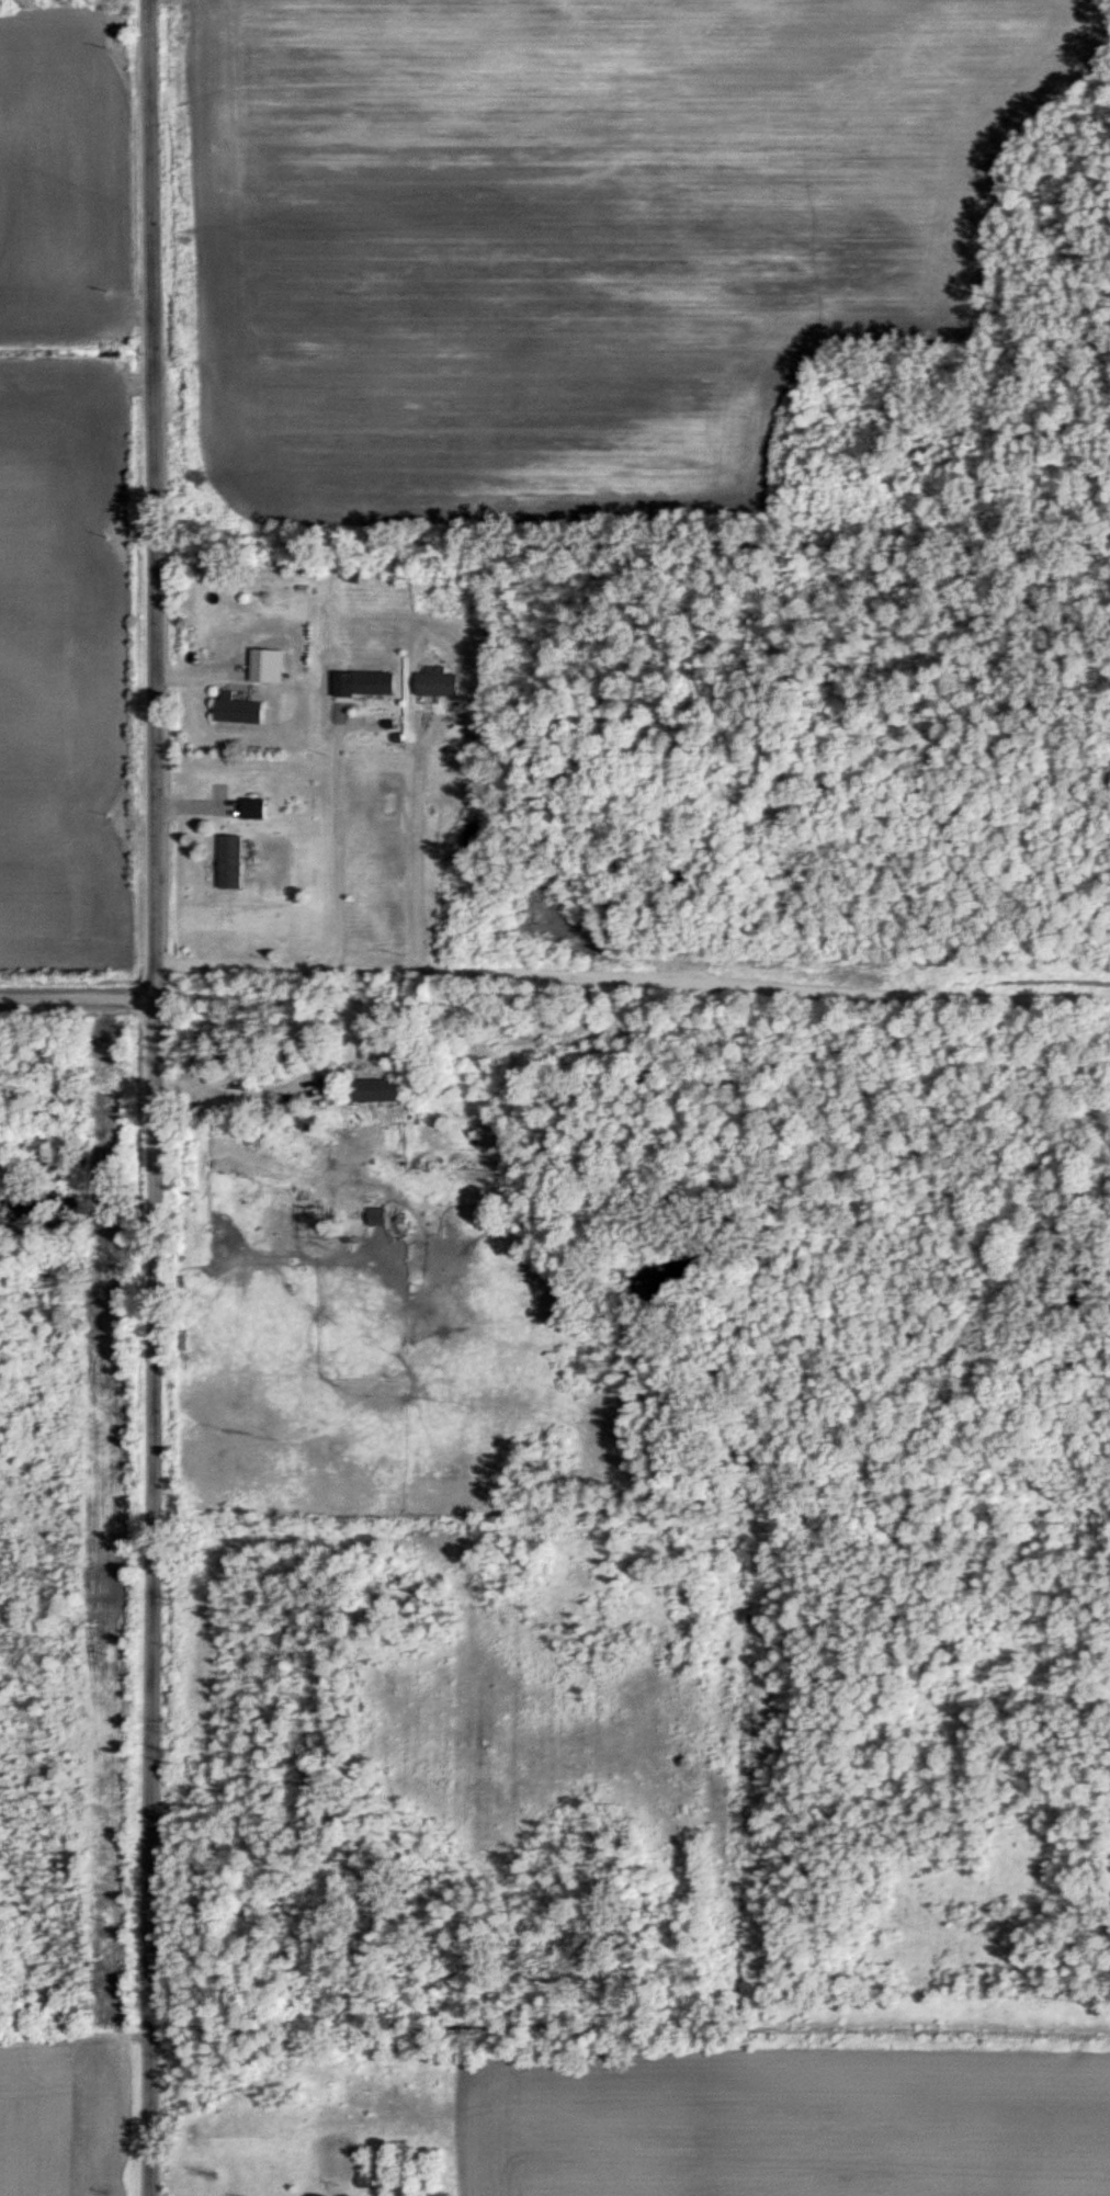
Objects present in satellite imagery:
building: (381, 683)
building: (443, 686)
building: (245, 710)
building: (256, 810)
road: (417, 845)
road: (335, 846)
building: (235, 862)
road: (632, 976)
road: (77, 995)
building: (262, 1073)
building: (388, 1088)
road: (260, 1089)
road: (152, 1097)
building: (380, 1216)

